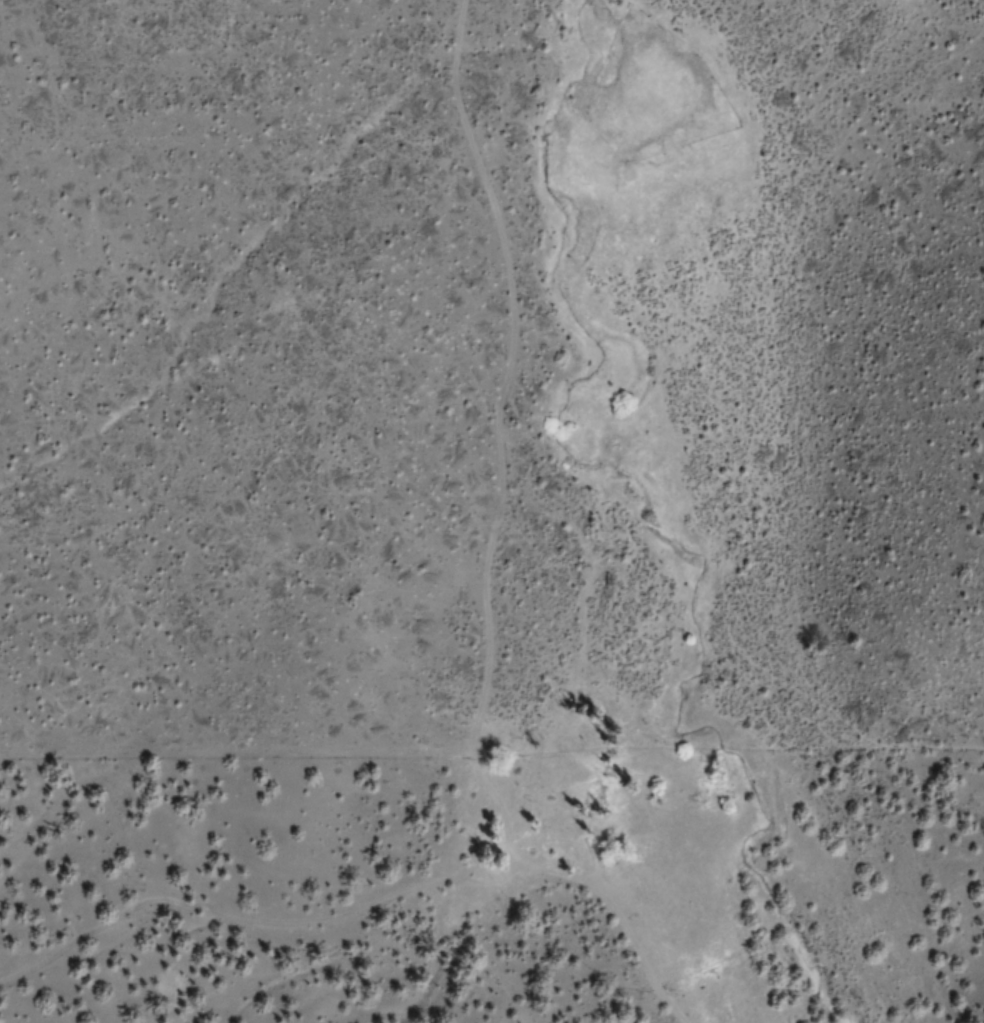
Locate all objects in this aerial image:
road: (514, 563)

